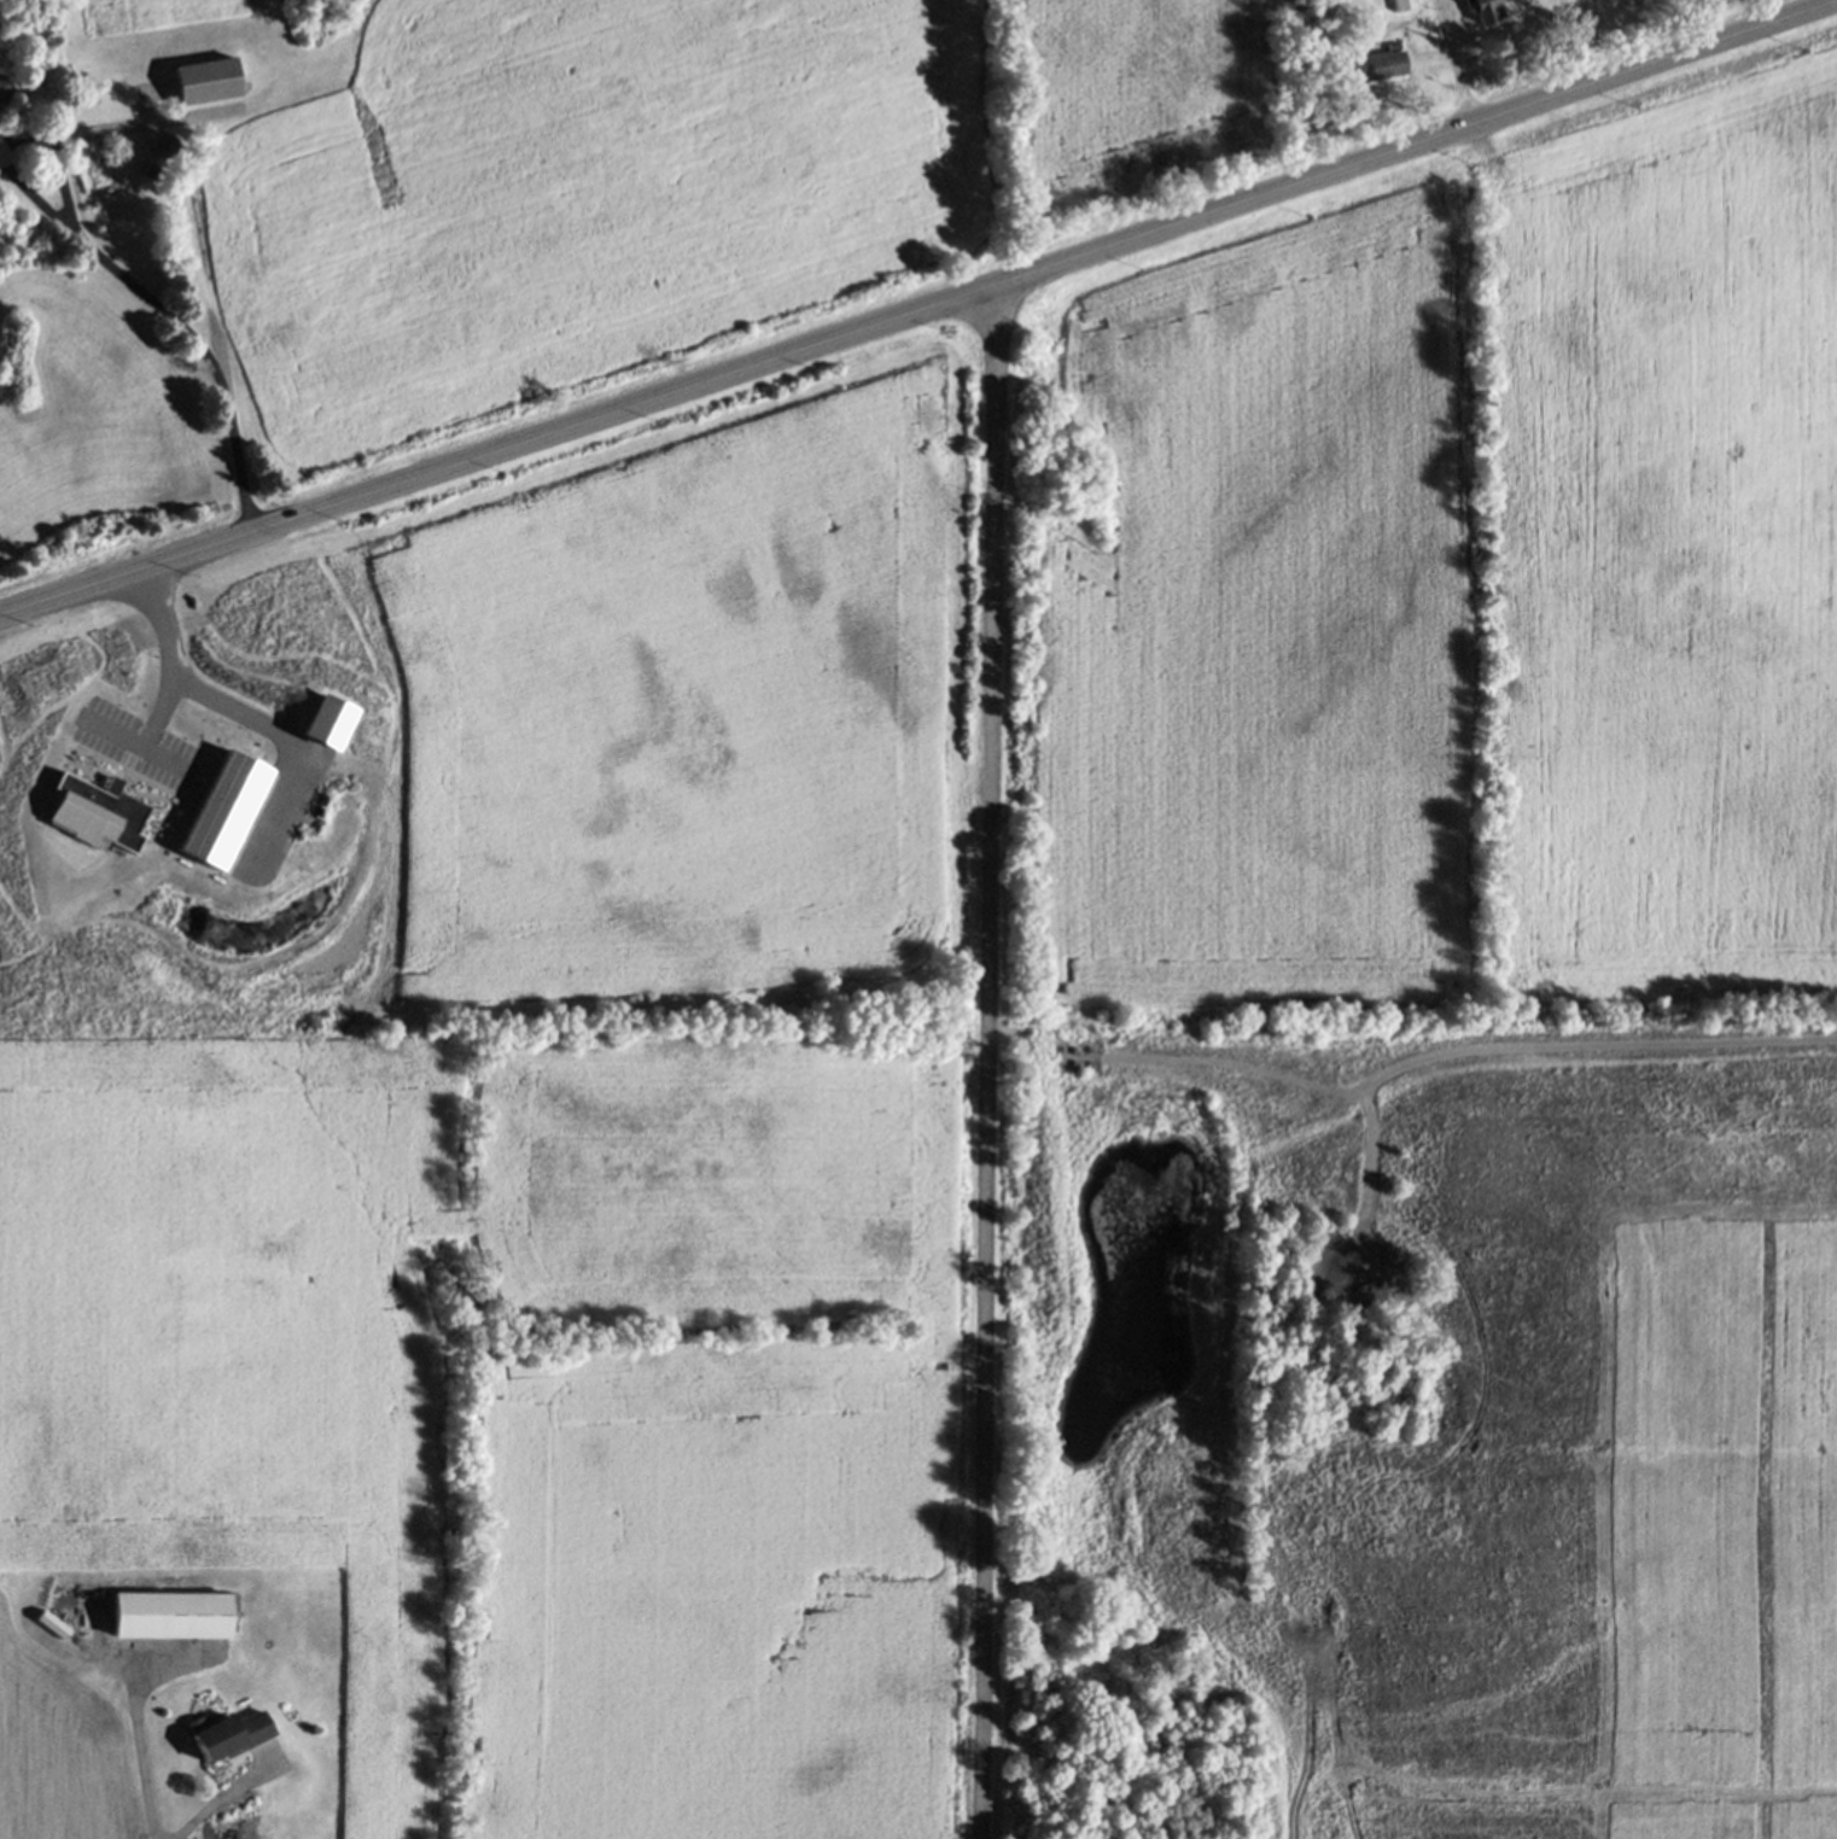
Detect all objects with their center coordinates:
crop: (1669, 2)
building: (1400, 4)
building: (1485, 8)
crop: (111, 14)
road: (1451, 62)
building: (1366, 63)
road: (1427, 77)
building: (206, 78)
building: (2, 88)
building: (162, 148)
building: (150, 169)
crop: (657, 176)
road: (121, 279)
road: (916, 313)
crop: (1440, 580)
road: (169, 654)
building: (322, 720)
parking lot: (132, 742)
road: (294, 746)
park: (188, 801)
building: (221, 810)
building: (87, 822)
building: (33, 842)
building: (40, 983)
road: (989, 1063)
building: (1318, 1164)
building: (1339, 1249)
building: (170, 1612)
building: (232, 1734)
road: (151, 1763)
road: (240, 1810)

